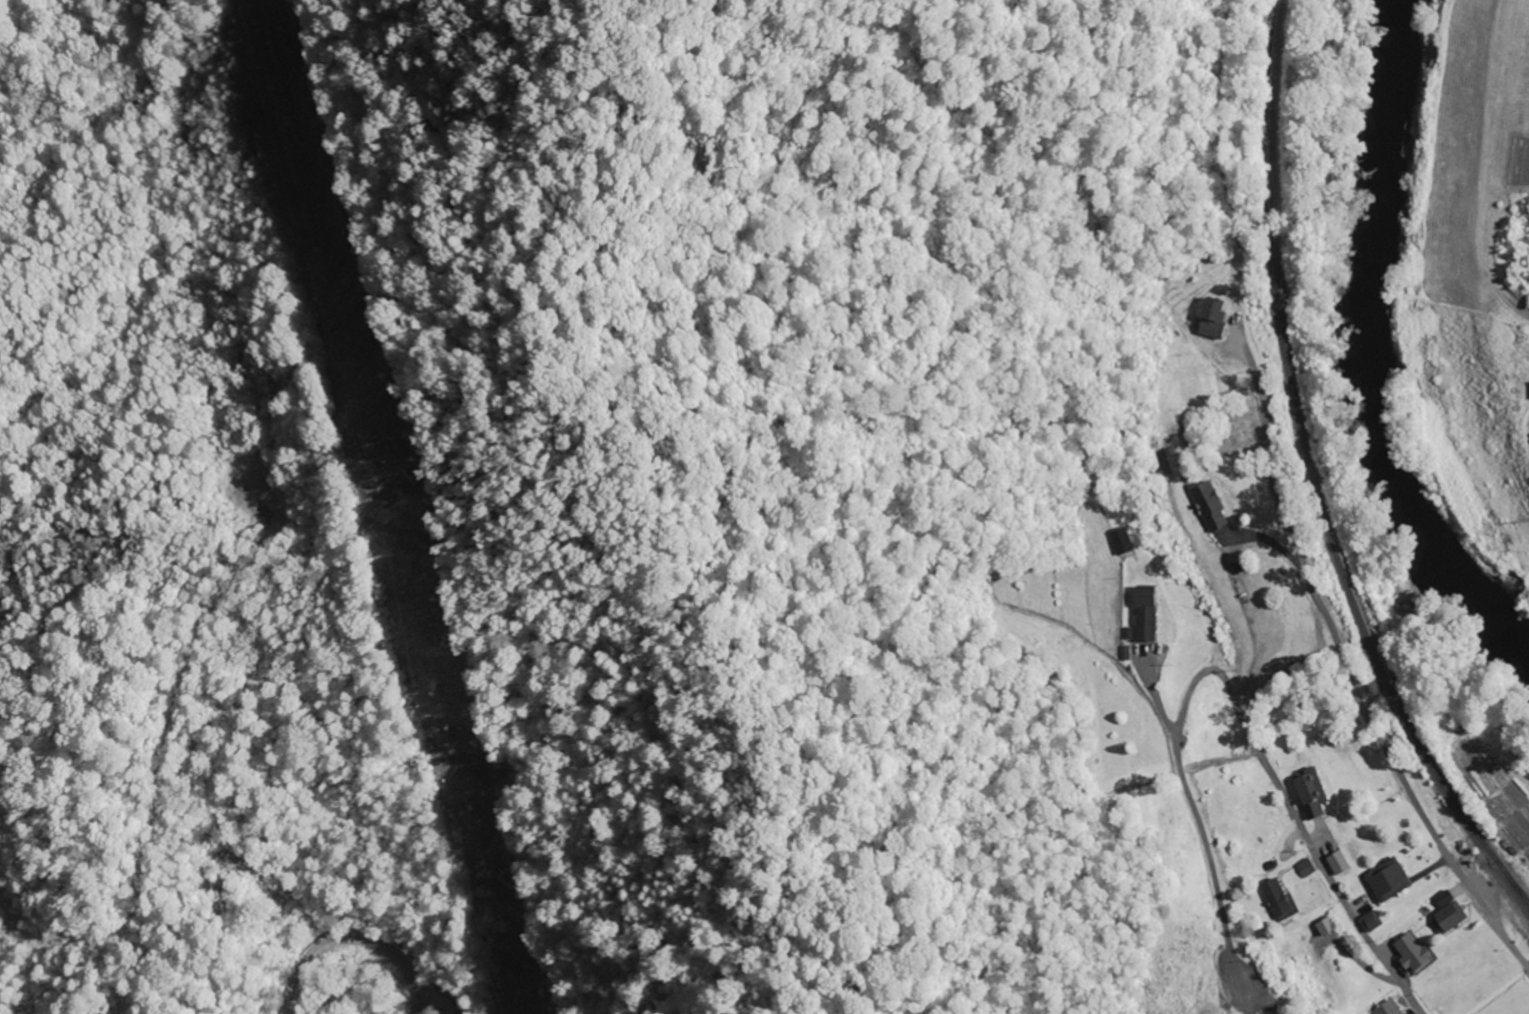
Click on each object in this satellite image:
river: (1370, 360)
railway: (1312, 475)
road: (1349, 673)
road: (1227, 683)
building: (1324, 789)
building: (1354, 857)
building: (1321, 862)
building: (1292, 894)
building: (1461, 912)
road: (351, 940)

